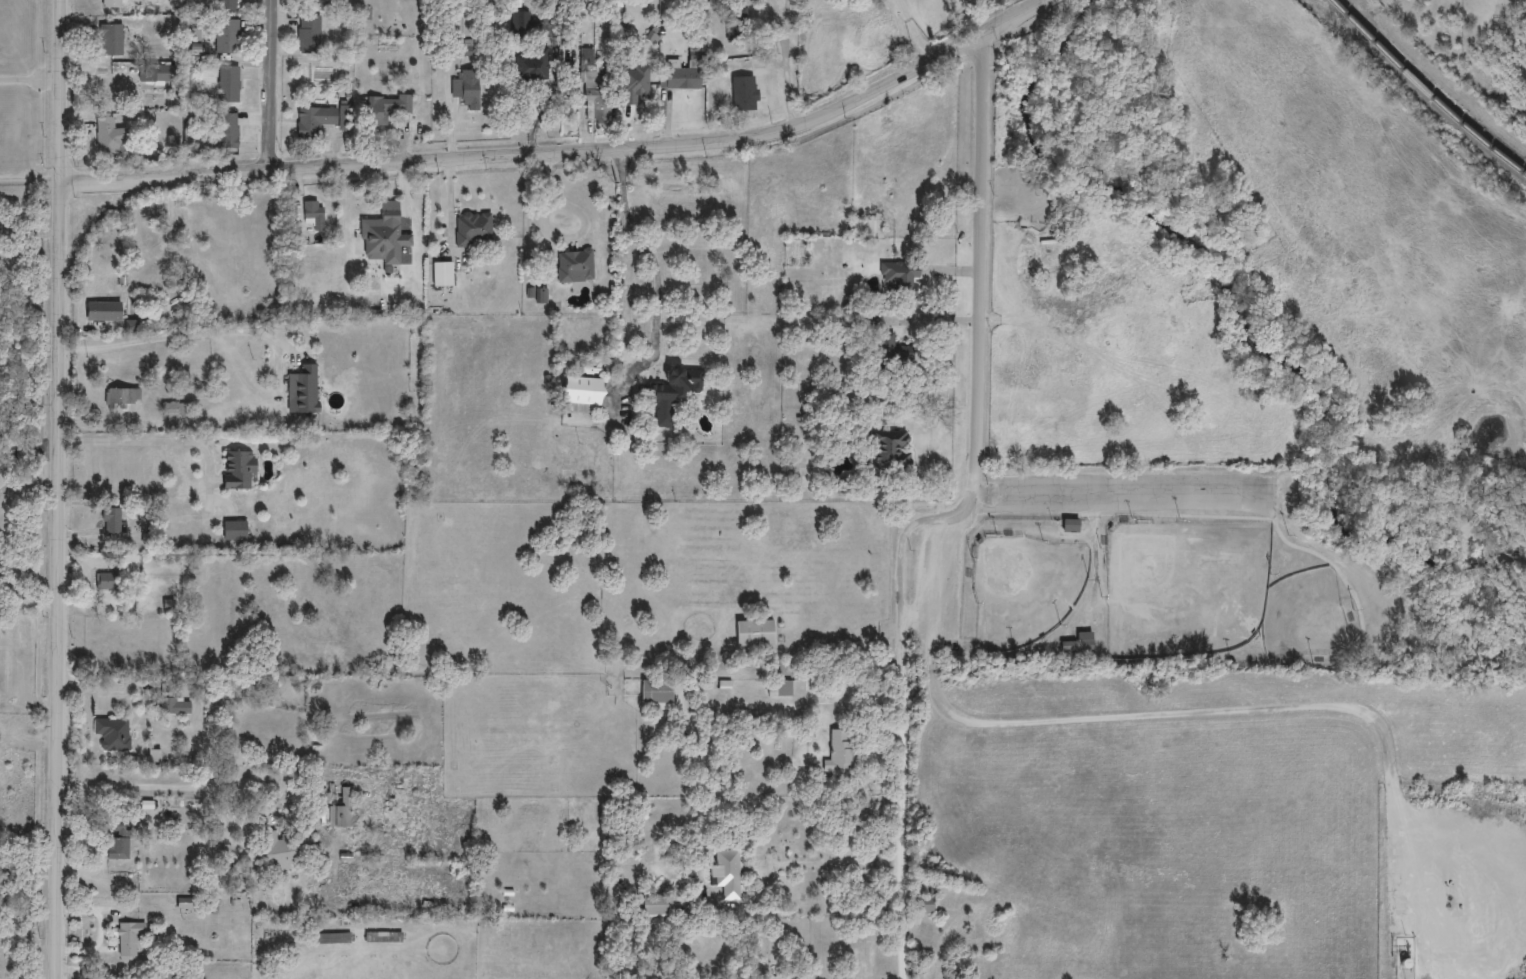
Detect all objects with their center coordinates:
building: (315, 4)
road: (912, 30)
building: (308, 34)
building: (531, 63)
road: (789, 64)
building: (685, 72)
road: (29, 79)
road: (273, 85)
building: (637, 85)
building: (595, 88)
building: (466, 90)
railway: (1427, 90)
building: (743, 94)
building: (388, 105)
road: (545, 105)
building: (314, 121)
road: (567, 154)
building: (312, 215)
building: (472, 229)
building: (866, 229)
road: (27, 234)
building: (384, 237)
building: (574, 266)
road: (664, 268)
building: (441, 274)
building: (900, 280)
road: (181, 335)
building: (893, 360)
building: (675, 385)
building: (302, 390)
building: (581, 395)
road: (150, 441)
building: (890, 450)
road: (28, 454)
road: (26, 474)
road: (57, 489)
road: (1113, 492)
parking lot: (1135, 492)
road: (989, 508)
road: (949, 516)
building: (1069, 526)
road: (1330, 563)
park: (1229, 567)
road: (940, 580)
park: (1184, 587)
park: (1023, 589)
road: (24, 604)
building: (293, 605)
park: (1303, 616)
building: (303, 627)
building: (359, 627)
building: (738, 632)
building: (1075, 646)
road: (930, 657)
building: (778, 688)
building: (657, 694)
road: (1262, 708)
road: (29, 734)
building: (839, 754)
road: (154, 784)
building: (337, 811)
building: (278, 848)
road: (816, 863)
building: (725, 873)
building: (923, 905)
building: (653, 906)

